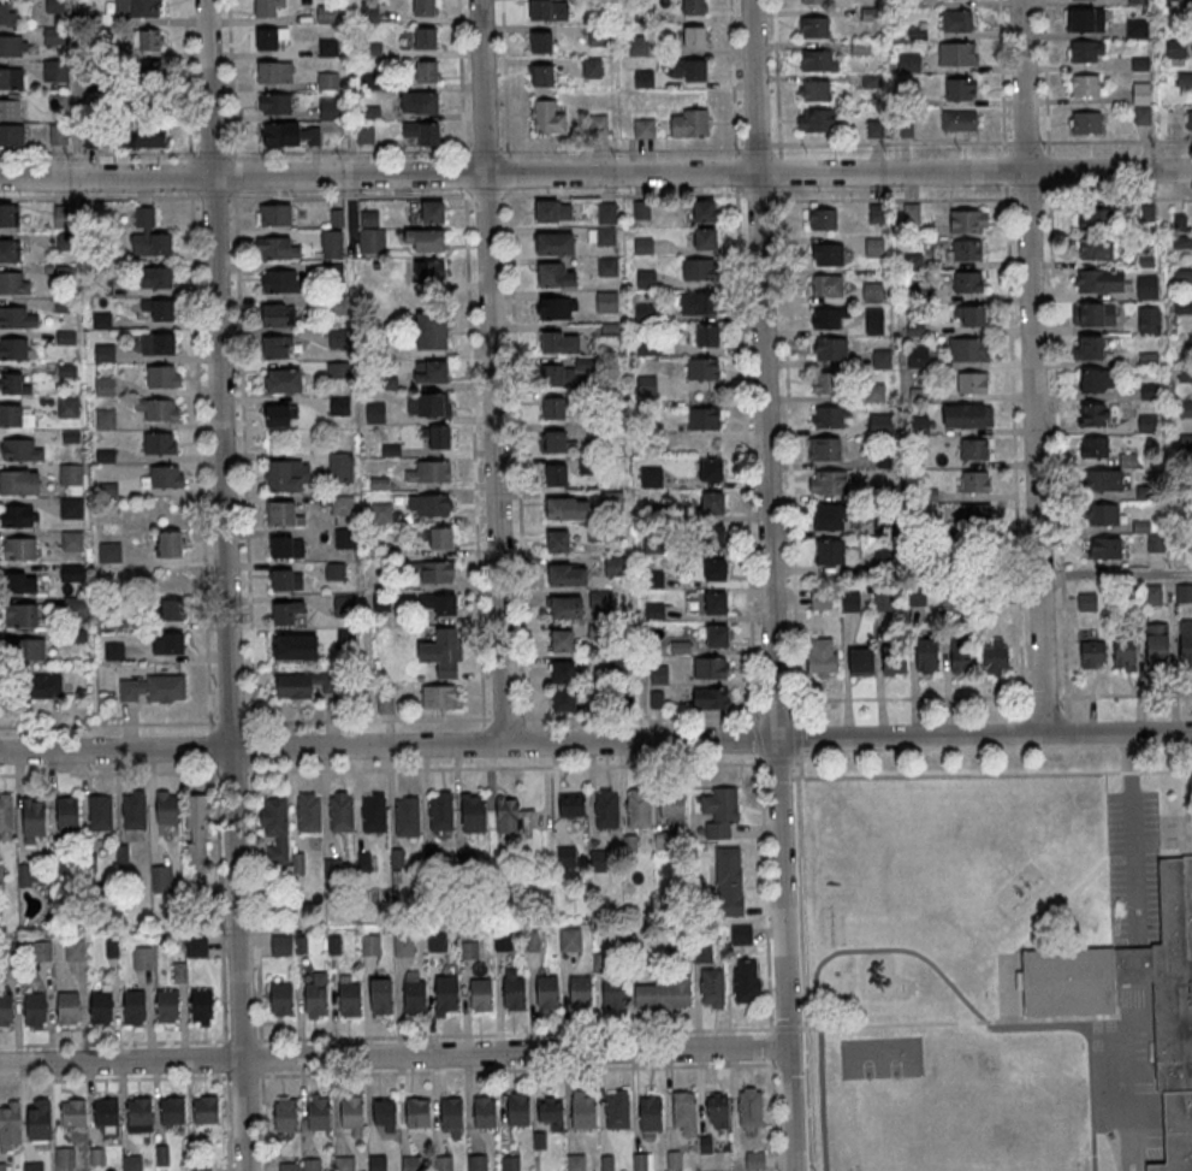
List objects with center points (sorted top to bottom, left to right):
building: (1137, 0)
building: (812, 1)
building: (693, 6)
building: (138, 7)
building: (266, 7)
building: (423, 7)
building: (547, 10)
building: (6, 12)
building: (368, 12)
building: (956, 19)
building: (1085, 19)
building: (814, 25)
building: (1137, 28)
building: (53, 35)
building: (598, 35)
building: (694, 36)
building: (269, 37)
building: (425, 37)
building: (149, 39)
building: (541, 41)
building: (12, 45)
building: (637, 45)
building: (1085, 51)
building: (957, 53)
building: (819, 59)
building: (908, 61)
building: (591, 67)
building: (690, 69)
building: (54, 70)
building: (274, 71)
building: (426, 71)
building: (149, 73)
building: (541, 75)
road: (1001, 76)
building: (10, 77)
road: (731, 77)
road: (1044, 77)
road: (459, 78)
road: (504, 78)
building: (644, 78)
road: (776, 78)
road: (186, 79)
road: (230, 79)
building: (327, 81)
building: (1084, 84)
building: (960, 88)
building: (813, 89)
building: (57, 100)
building: (426, 101)
building: (1141, 101)
building: (273, 102)
building: (10, 108)
building: (546, 117)
building: (816, 119)
building: (1188, 119)
building: (959, 120)
building: (1085, 122)
building: (598, 123)
building: (688, 123)
building: (644, 128)
building: (422, 131)
building: (11, 134)
building: (58, 134)
building: (290, 134)
building: (363, 134)
building: (141, 135)
road: (1114, 140)
road: (1025, 141)
road: (890, 142)
road: (755, 146)
road: (621, 149)
road: (485, 150)
road: (212, 152)
road: (348, 152)
road: (99, 153)
road: (1004, 168)
road: (1048, 168)
road: (463, 172)
road: (736, 172)
road: (779, 172)
road: (508, 173)
road: (190, 175)
road: (233, 175)
road: (595, 175)
road: (595, 194)
building: (553, 209)
building: (704, 211)
building: (432, 212)
building: (605, 212)
building: (1147, 213)
building: (8, 214)
building: (274, 214)
building: (822, 218)
building: (1095, 218)
building: (968, 220)
building: (152, 230)
building: (605, 236)
building: (705, 238)
building: (423, 239)
building: (372, 241)
building: (555, 242)
building: (331, 243)
building: (277, 247)
building: (873, 247)
building: (10, 249)
building: (965, 249)
building: (1095, 249)
building: (825, 254)
building: (606, 266)
building: (698, 268)
building: (428, 270)
building: (555, 274)
building: (155, 276)
building: (279, 280)
building: (1099, 280)
building: (13, 282)
building: (967, 282)
building: (826, 284)
building: (1146, 286)
building: (872, 291)
building: (606, 301)
building: (698, 303)
building: (158, 308)
building: (556, 308)
building: (277, 314)
building: (1092, 314)
building: (969, 315)
building: (18, 317)
building: (829, 317)
building: (873, 320)
building: (1147, 320)
building: (429, 331)
building: (706, 336)
building: (559, 342)
building: (158, 343)
building: (277, 347)
building: (1087, 347)
building: (16, 348)
building: (829, 348)
building: (967, 349)
building: (918, 357)
building: (879, 359)
road: (1031, 367)
building: (701, 368)
building: (336, 369)
building: (429, 372)
road: (491, 372)
building: (558, 374)
road: (1055, 375)
building: (161, 377)
building: (283, 380)
building: (1096, 380)
building: (824, 382)
building: (972, 383)
building: (13, 384)
building: (67, 406)
building: (338, 406)
building: (427, 406)
building: (553, 407)
building: (155, 410)
building: (375, 413)
building: (1093, 414)
building: (14, 415)
building: (280, 415)
building: (830, 415)
building: (967, 415)
building: (704, 418)
building: (1147, 422)
building: (438, 438)
building: (557, 440)
building: (159, 444)
building: (1093, 446)
building: (824, 448)
building: (20, 449)
building: (973, 449)
road: (1013, 451)
road: (789, 455)
road: (746, 456)
road: (474, 457)
road: (517, 457)
road: (243, 459)
road: (200, 461)
building: (340, 466)
building: (586, 468)
building: (711, 468)
building: (70, 473)
building: (427, 473)
building: (556, 474)
building: (651, 475)
building: (281, 477)
building: (164, 478)
building: (1099, 479)
building: (18, 481)
building: (828, 481)
building: (972, 492)
building: (712, 502)
building: (342, 504)
building: (71, 507)
building: (427, 507)
building: (567, 507)
building: (284, 514)
building: (380, 514)
building: (1101, 514)
building: (17, 515)
building: (830, 516)
building: (710, 536)
building: (343, 538)
building: (71, 539)
building: (439, 539)
building: (557, 540)
building: (1155, 542)
building: (168, 544)
building: (286, 545)
building: (1104, 546)
building: (19, 548)
building: (109, 551)
building: (830, 552)
building: (613, 566)
building: (714, 569)
building: (71, 573)
building: (431, 573)
road: (1115, 573)
building: (567, 574)
road: (1062, 575)
building: (653, 578)
building: (285, 579)
building: (25, 582)
road: (224, 585)
road: (767, 585)
building: (1185, 593)
building: (1152, 595)
building: (599, 598)
building: (882, 599)
building: (716, 602)
building: (437, 604)
building: (75, 605)
building: (565, 607)
building: (172, 609)
building: (653, 610)
building: (285, 611)
building: (20, 614)
building: (717, 634)
building: (562, 639)
building: (1186, 640)
building: (167, 643)
building: (1157, 643)
building: (24, 649)
building: (1125, 650)
building: (113, 651)
road: (1063, 651)
building: (441, 652)
building: (1093, 653)
building: (929, 656)
building: (995, 656)
building: (822, 657)
building: (961, 657)
building: (895, 661)
building: (861, 662)
building: (619, 664)
building: (710, 667)
building: (565, 672)
building: (304, 684)
building: (37, 686)
building: (152, 687)
road: (1123, 693)
building: (440, 696)
road: (1044, 696)
road: (909, 697)
building: (710, 698)
building: (563, 699)
road: (775, 705)
road: (640, 716)
road: (504, 717)
road: (368, 720)
road: (231, 722)
road: (108, 725)
road: (1067, 727)
road: (1022, 728)
road: (482, 735)
road: (528, 735)
road: (758, 738)
road: (797, 738)
road: (595, 743)
road: (210, 746)
road: (250, 746)
road: (779, 762)
road: (795, 762)
road: (505, 767)
road: (232, 770)
road: (109, 773)
road: (983, 774)
road: (1187, 791)
building: (571, 805)
building: (606, 808)
building: (637, 808)
building: (166, 809)
building: (132, 810)
building: (671, 810)
building: (439, 811)
building: (719, 811)
building: (66, 812)
building: (99, 812)
building: (308, 812)
building: (340, 812)
building: (373, 812)
building: (473, 814)
building: (5, 816)
building: (407, 817)
building: (512, 817)
building: (32, 820)
building: (274, 829)
building: (196, 830)
road: (1132, 839)
road: (1162, 850)
building: (565, 857)
road: (1121, 860)
parking lot: (1133, 869)
building: (161, 880)
building: (729, 881)
road: (765, 893)
road: (218, 901)
road: (255, 901)
road: (1038, 932)
building: (741, 934)
building: (570, 939)
building: (502, 941)
building: (532, 941)
building: (369, 945)
building: (403, 946)
building: (196, 947)
building: (75, 948)
building: (468, 950)
building: (41, 951)
road: (888, 951)
building: (142, 958)
road: (803, 963)
road: (1135, 965)
building: (746, 981)
building: (711, 987)
building: (581, 990)
building: (447, 992)
building: (547, 992)
building: (613, 992)
building: (381, 993)
building: (514, 993)
building: (662, 993)
building: (481, 995)
building: (415, 996)
building: (281, 998)
building: (315, 998)
building: (350, 999)
building: (202, 1004)
building: (1069, 1004)
building: (167, 1005)
building: (69, 1006)
building: (101, 1006)
building: (135, 1006)
building: (35, 1007)
building: (6, 1009)
road: (1128, 1018)
road: (961, 1023)
road: (1063, 1027)
road: (788, 1029)
road: (516, 1034)
road: (242, 1039)
road: (112, 1041)
road: (773, 1048)
road: (392, 1054)
road: (261, 1057)
park: (882, 1057)
road: (225, 1058)
road: (515, 1070)
road: (242, 1075)
road: (113, 1077)
parking lot: (1129, 1077)
road: (1137, 1078)
road: (1093, 1095)
road: (822, 1100)
building: (517, 1107)
building: (206, 1108)
building: (684, 1108)
building: (751, 1108)
building: (582, 1110)
building: (717, 1110)
building: (107, 1111)
building: (173, 1111)
building: (352, 1111)
building: (385, 1111)
building: (551, 1111)
building: (617, 1111)
building: (75, 1112)
building: (319, 1112)
building: (485, 1112)
building: (417, 1113)
building: (652, 1113)
building: (140, 1114)
building: (286, 1114)
building: (452, 1114)
road: (775, 1117)
road: (226, 1122)
road: (263, 1122)
building: (38, 1123)
building: (10, 1124)
building: (706, 1145)
building: (162, 1154)
building: (65, 1157)
building: (96, 1157)
building: (674, 1159)
building: (755, 1160)
building: (607, 1161)
building: (642, 1161)
building: (132, 1163)
building: (345, 1163)
building: (378, 1163)
building: (409, 1163)
building: (444, 1163)
building: (476, 1163)
building: (510, 1163)
building: (576, 1163)
building: (312, 1164)
building: (2, 1166)
building: (34, 1166)
building: (201, 1166)
building: (290, 1166)

